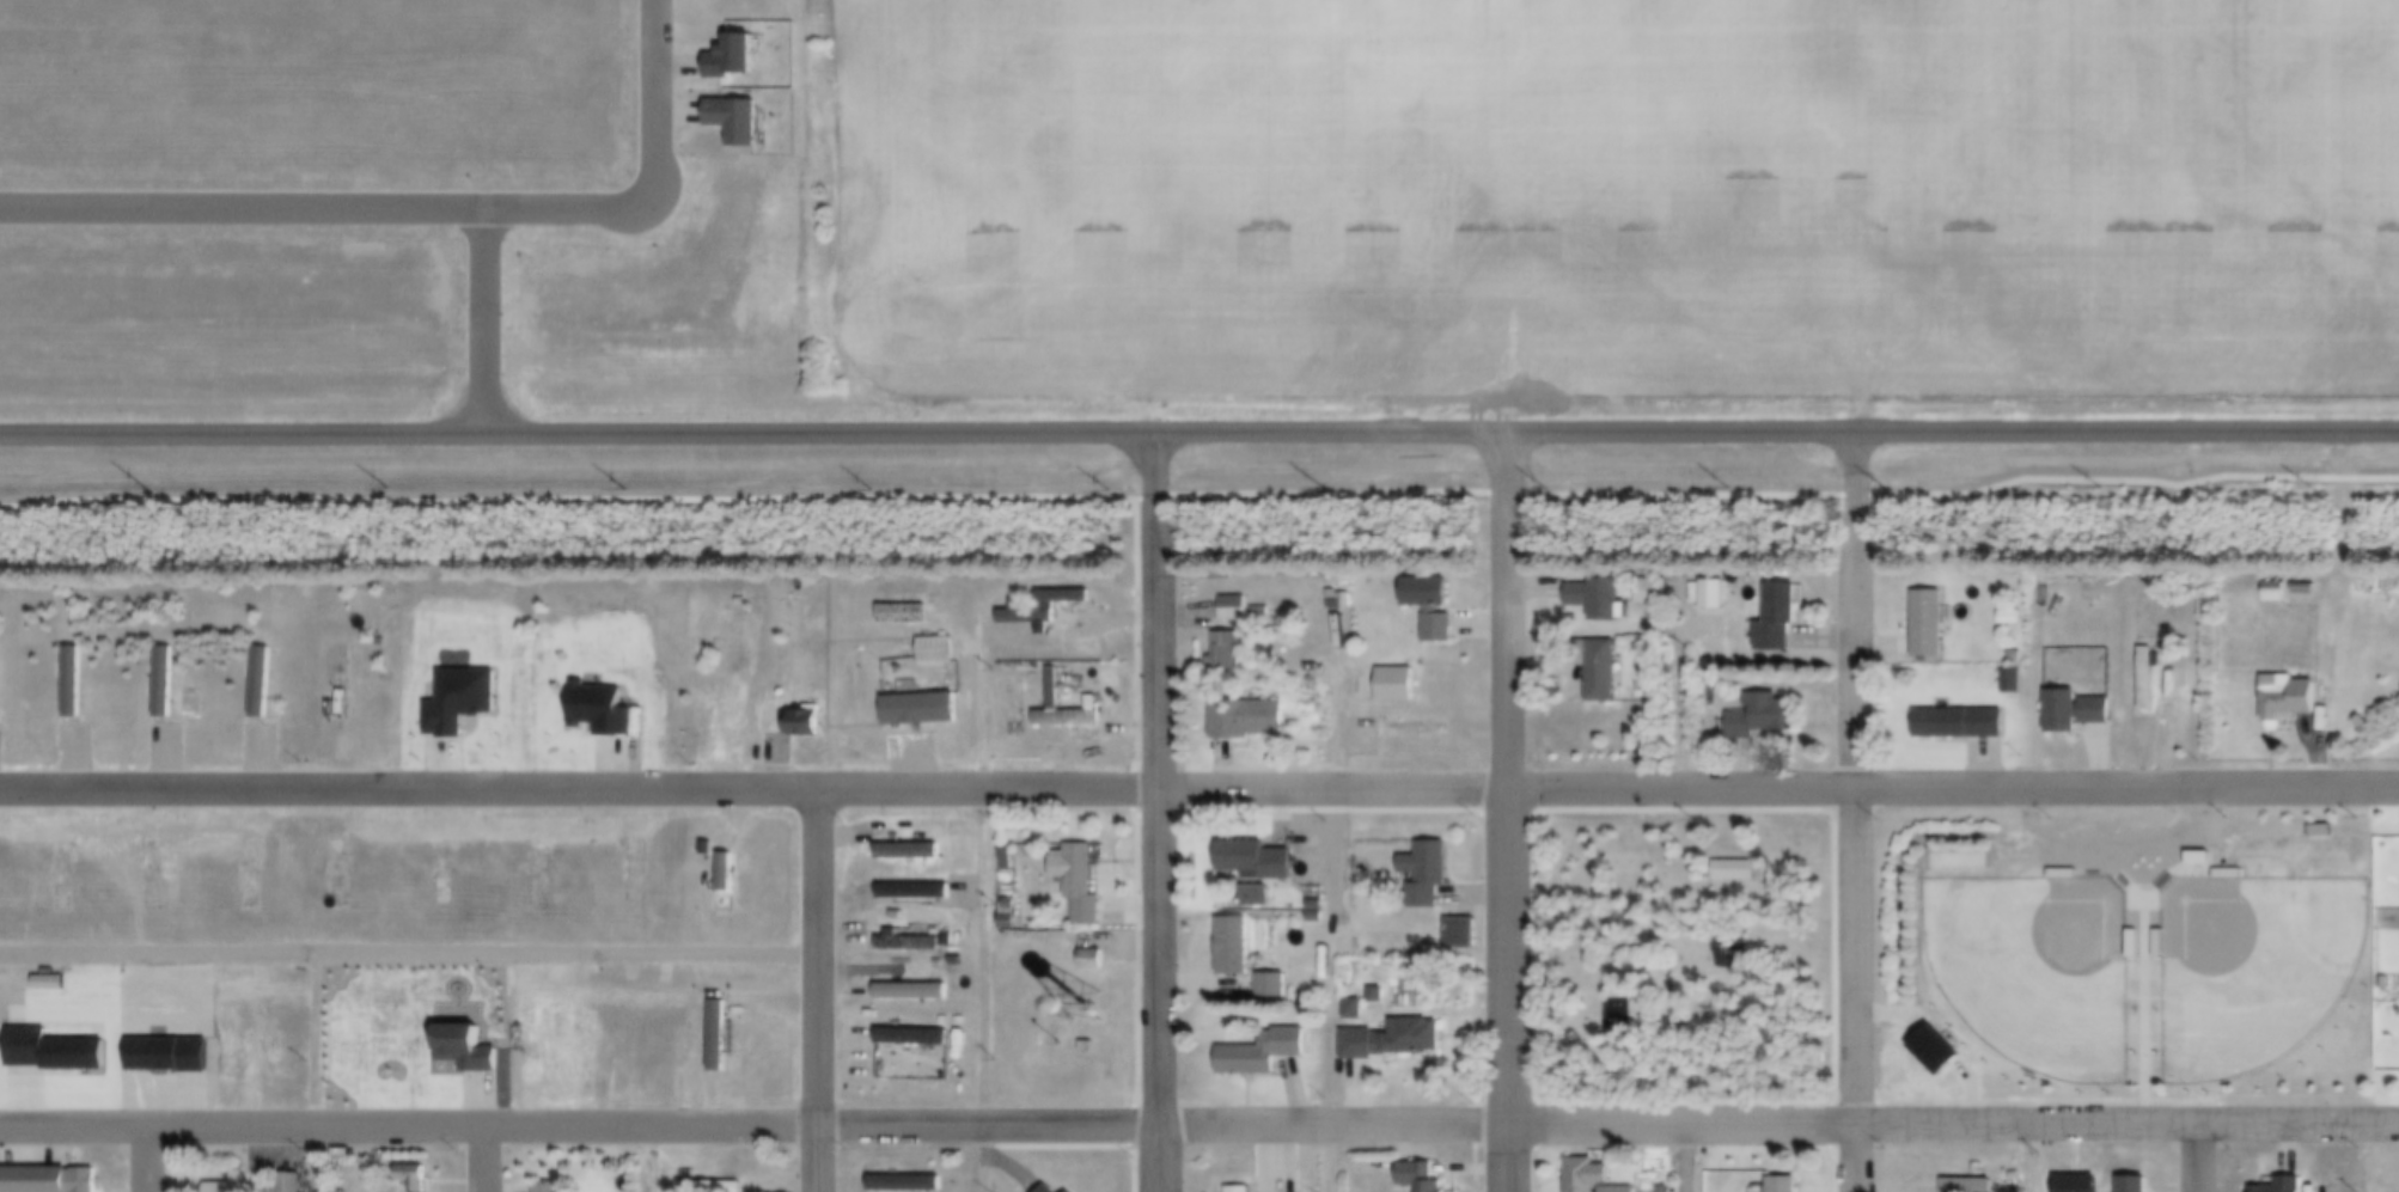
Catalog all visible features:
building: (730, 65)
building: (730, 126)
road: (421, 209)
road: (478, 322)
road: (1952, 429)
road: (752, 430)
building: (1650, 583)
building: (2307, 589)
building: (2278, 591)
building: (1335, 597)
building: (1647, 597)
building: (1598, 598)
building: (1715, 598)
building: (1350, 603)
building: (1050, 606)
building: (1338, 607)
building: (1433, 610)
building: (1238, 611)
building: (2014, 613)
building: (905, 616)
building: (1780, 621)
building: (1933, 624)
building: (1078, 644)
building: (940, 652)
building: (1228, 654)
building: (2019, 655)
building: (1604, 671)
building: (2150, 678)
building: (77, 683)
building: (167, 684)
building: (263, 684)
building: (2016, 684)
building: (1399, 686)
building: (2290, 697)
building: (464, 702)
building: (1095, 705)
building: (606, 711)
building: (923, 711)
building: (2077, 711)
building: (1766, 720)
building: (1249, 721)
building: (2364, 722)
building: (1961, 723)
building: (807, 726)
building: (1418, 729)
road: (1952, 787)
road: (580, 788)
road: (1332, 789)
road: (1160, 809)
road: (1857, 809)
road: (1506, 811)
building: (2324, 827)
building: (911, 849)
building: (710, 850)
building: (2200, 855)
building: (1011, 858)
building: (1258, 864)
building: (634, 870)
building: (1738, 870)
building: (2065, 870)
building: (2232, 870)
building: (149, 872)
building: (337, 872)
building: (441, 872)
building: (537, 872)
building: (249, 873)
building: (60, 874)
building: (730, 874)
building: (1428, 875)
building: (1085, 886)
building: (917, 892)
building: (1260, 899)
building: (1013, 906)
building: (1318, 909)
building: (1011, 922)
road: (959, 930)
building: (1463, 934)
building: (2136, 941)
building: (2162, 941)
building: (912, 945)
building: (1237, 950)
building: (1732, 952)
park: (1686, 954)
road: (410, 956)
road: (820, 958)
building: (1095, 962)
park: (2258, 966)
park: (2039, 967)
road: (411, 985)
building: (1274, 989)
building: (915, 994)
building: (1380, 1001)
water tower: (1092, 1004)
building: (1357, 1011)
park: (1587, 1020)
building: (1579, 1022)
building: (722, 1032)
building: (232, 1038)
building: (330, 1038)
building: (432, 1038)
building: (722, 1038)
building: (136, 1039)
building: (527, 1039)
building: (915, 1039)
building: (1396, 1043)
building: (585, 1045)
building: (678, 1045)
building: (1935, 1045)
building: (617, 1046)
building: (468, 1050)
building: (59, 1053)
building: (1264, 1055)
building: (173, 1057)
building: (500, 1059)
road: (753, 1126)
road: (1952, 1126)
road: (820, 1159)
road: (1337, 1159)
road: (1690, 1159)
road: (2199, 1159)
road: (2369, 1159)
road: (148, 1160)
road: (484, 1160)
building: (417, 1178)
building: (1422, 1178)
building: (1593, 1178)
building: (49, 1180)
building: (240, 1180)
building: (909, 1184)
building: (2136, 1184)
building: (292, 1185)
building: (2078, 1185)
building: (2284, 1185)
building: (220, 1186)
building: (1785, 1186)
building: (1972, 1186)
building: (710, 1187)
building: (551, 1188)
building: (1043, 1188)
building: (1051, 1190)
building: (1241, 1190)
building: (1066, 1191)

